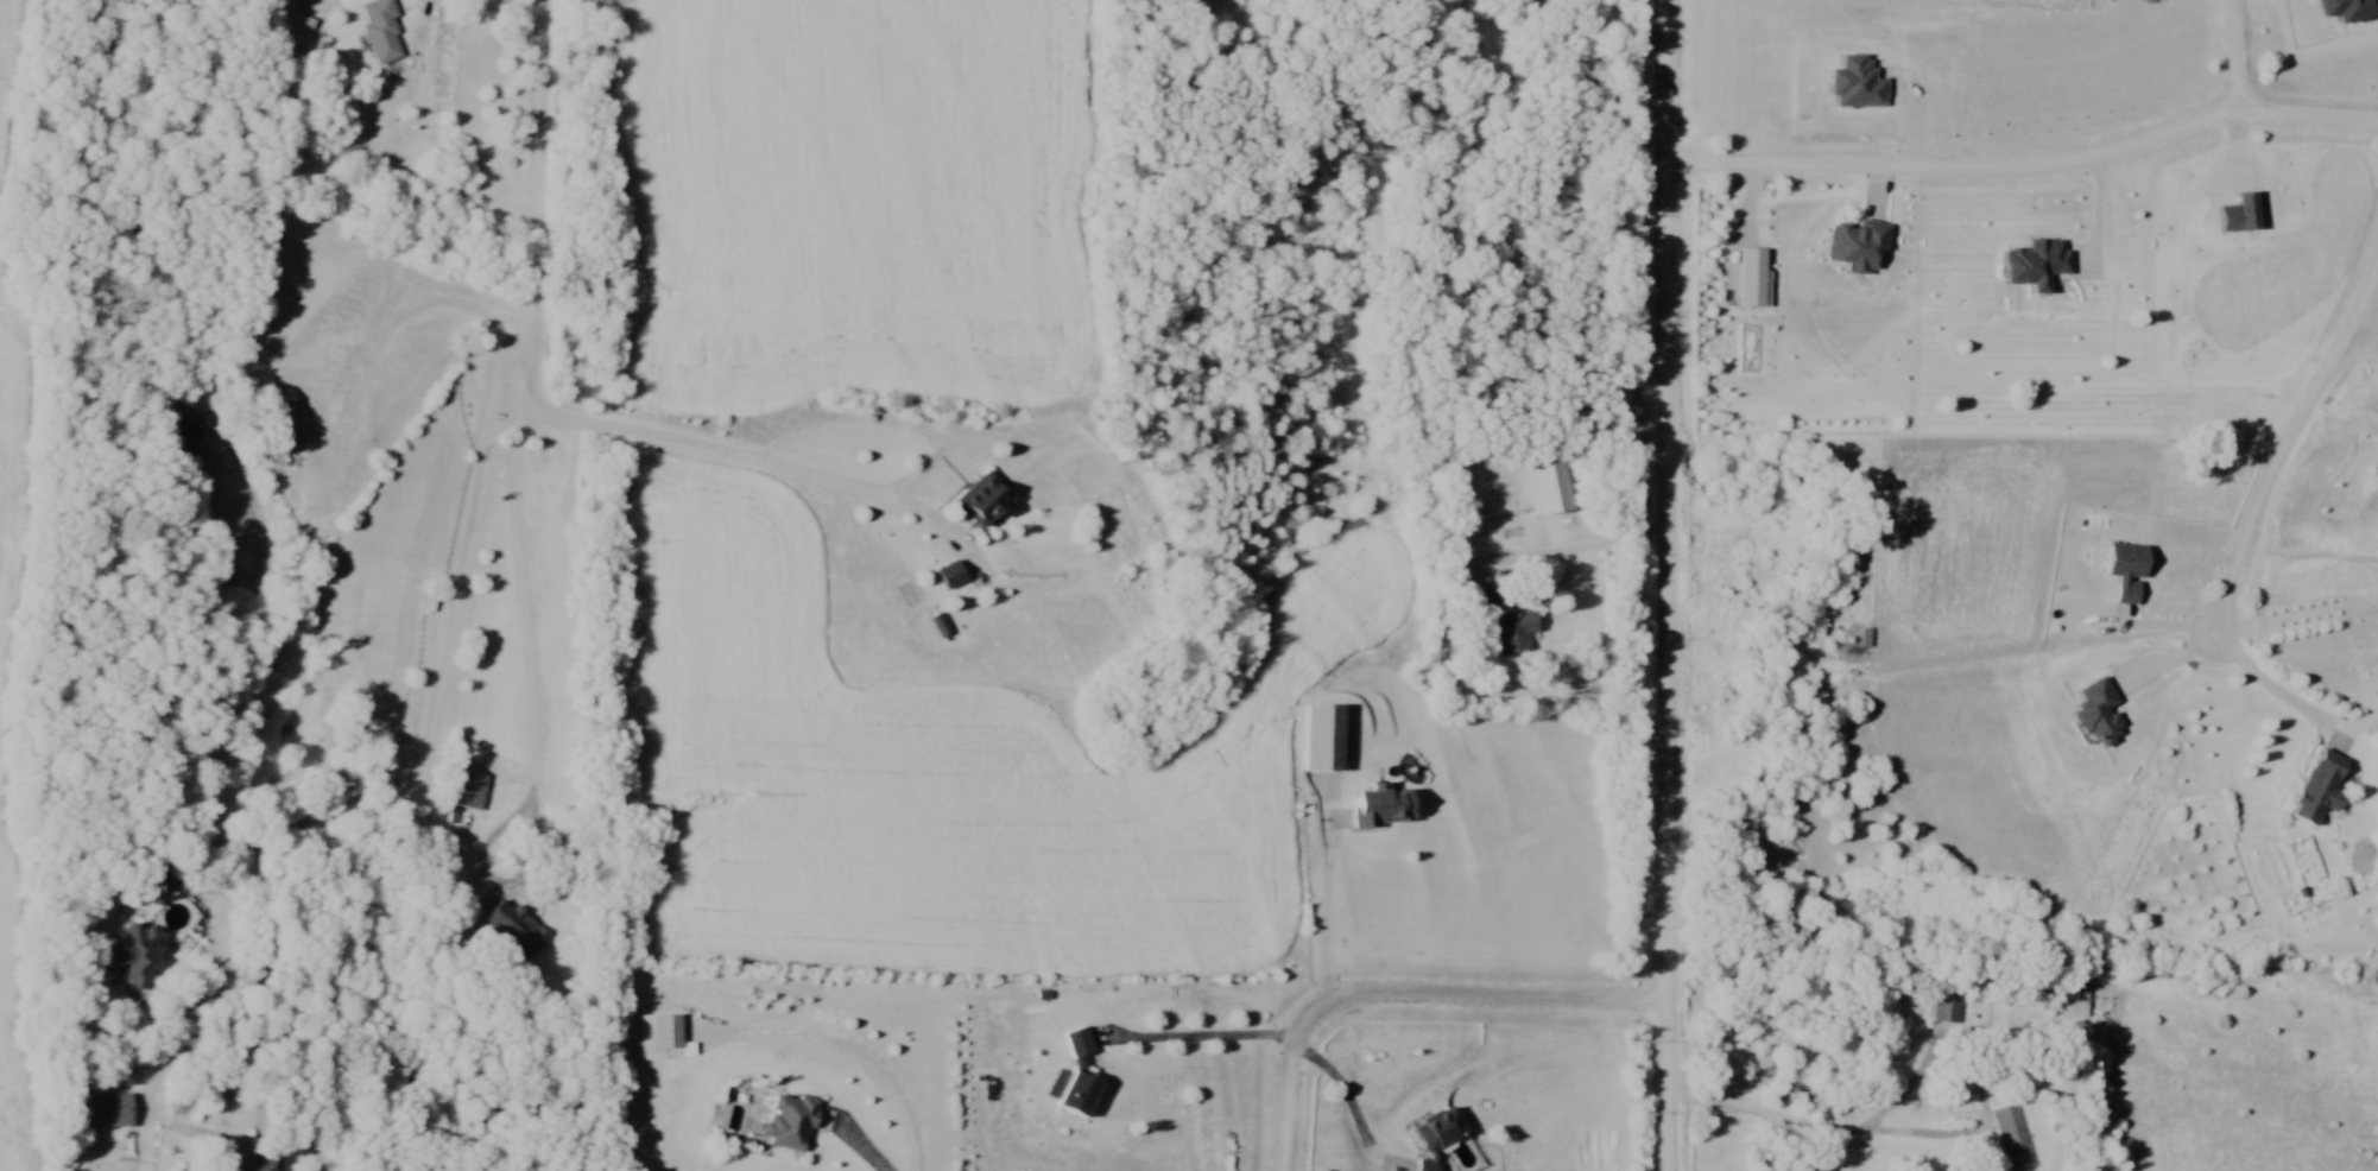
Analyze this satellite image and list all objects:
building: (381, 30)
road: (2235, 58)
road: (2025, 170)
building: (1352, 293)
road: (525, 405)
road: (639, 431)
building: (287, 437)
road: (2279, 448)
road: (887, 492)
building: (988, 500)
road: (1583, 551)
building: (953, 575)
road: (1668, 584)
building: (1487, 600)
building: (1518, 634)
road: (2276, 688)
building: (2325, 787)
road: (382, 792)
building: (1387, 808)
road: (493, 884)
road: (1327, 899)
building: (517, 929)
building: (139, 954)
road: (1406, 990)
building: (2069, 998)
building: (1946, 1006)
building: (670, 1032)
road: (1207, 1037)
road: (1940, 1069)
building: (1080, 1076)
road: (1349, 1099)
building: (109, 1112)
road: (1765, 1114)
building: (792, 1122)
road: (1501, 1135)
building: (1441, 1137)
building: (2013, 1138)
road: (858, 1139)
building: (259, 1164)

